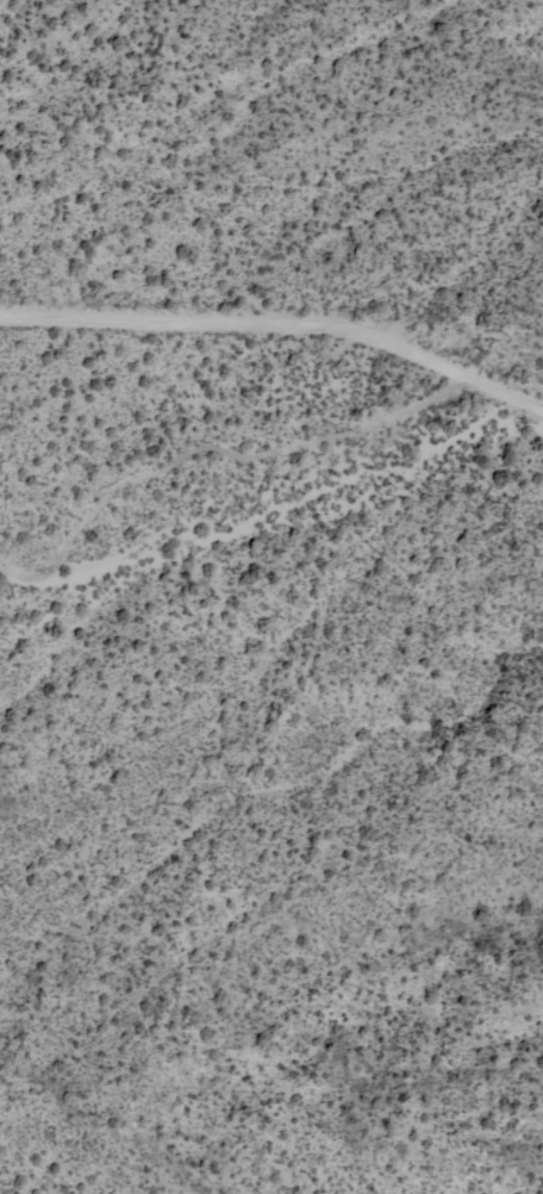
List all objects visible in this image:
road: (279, 322)

